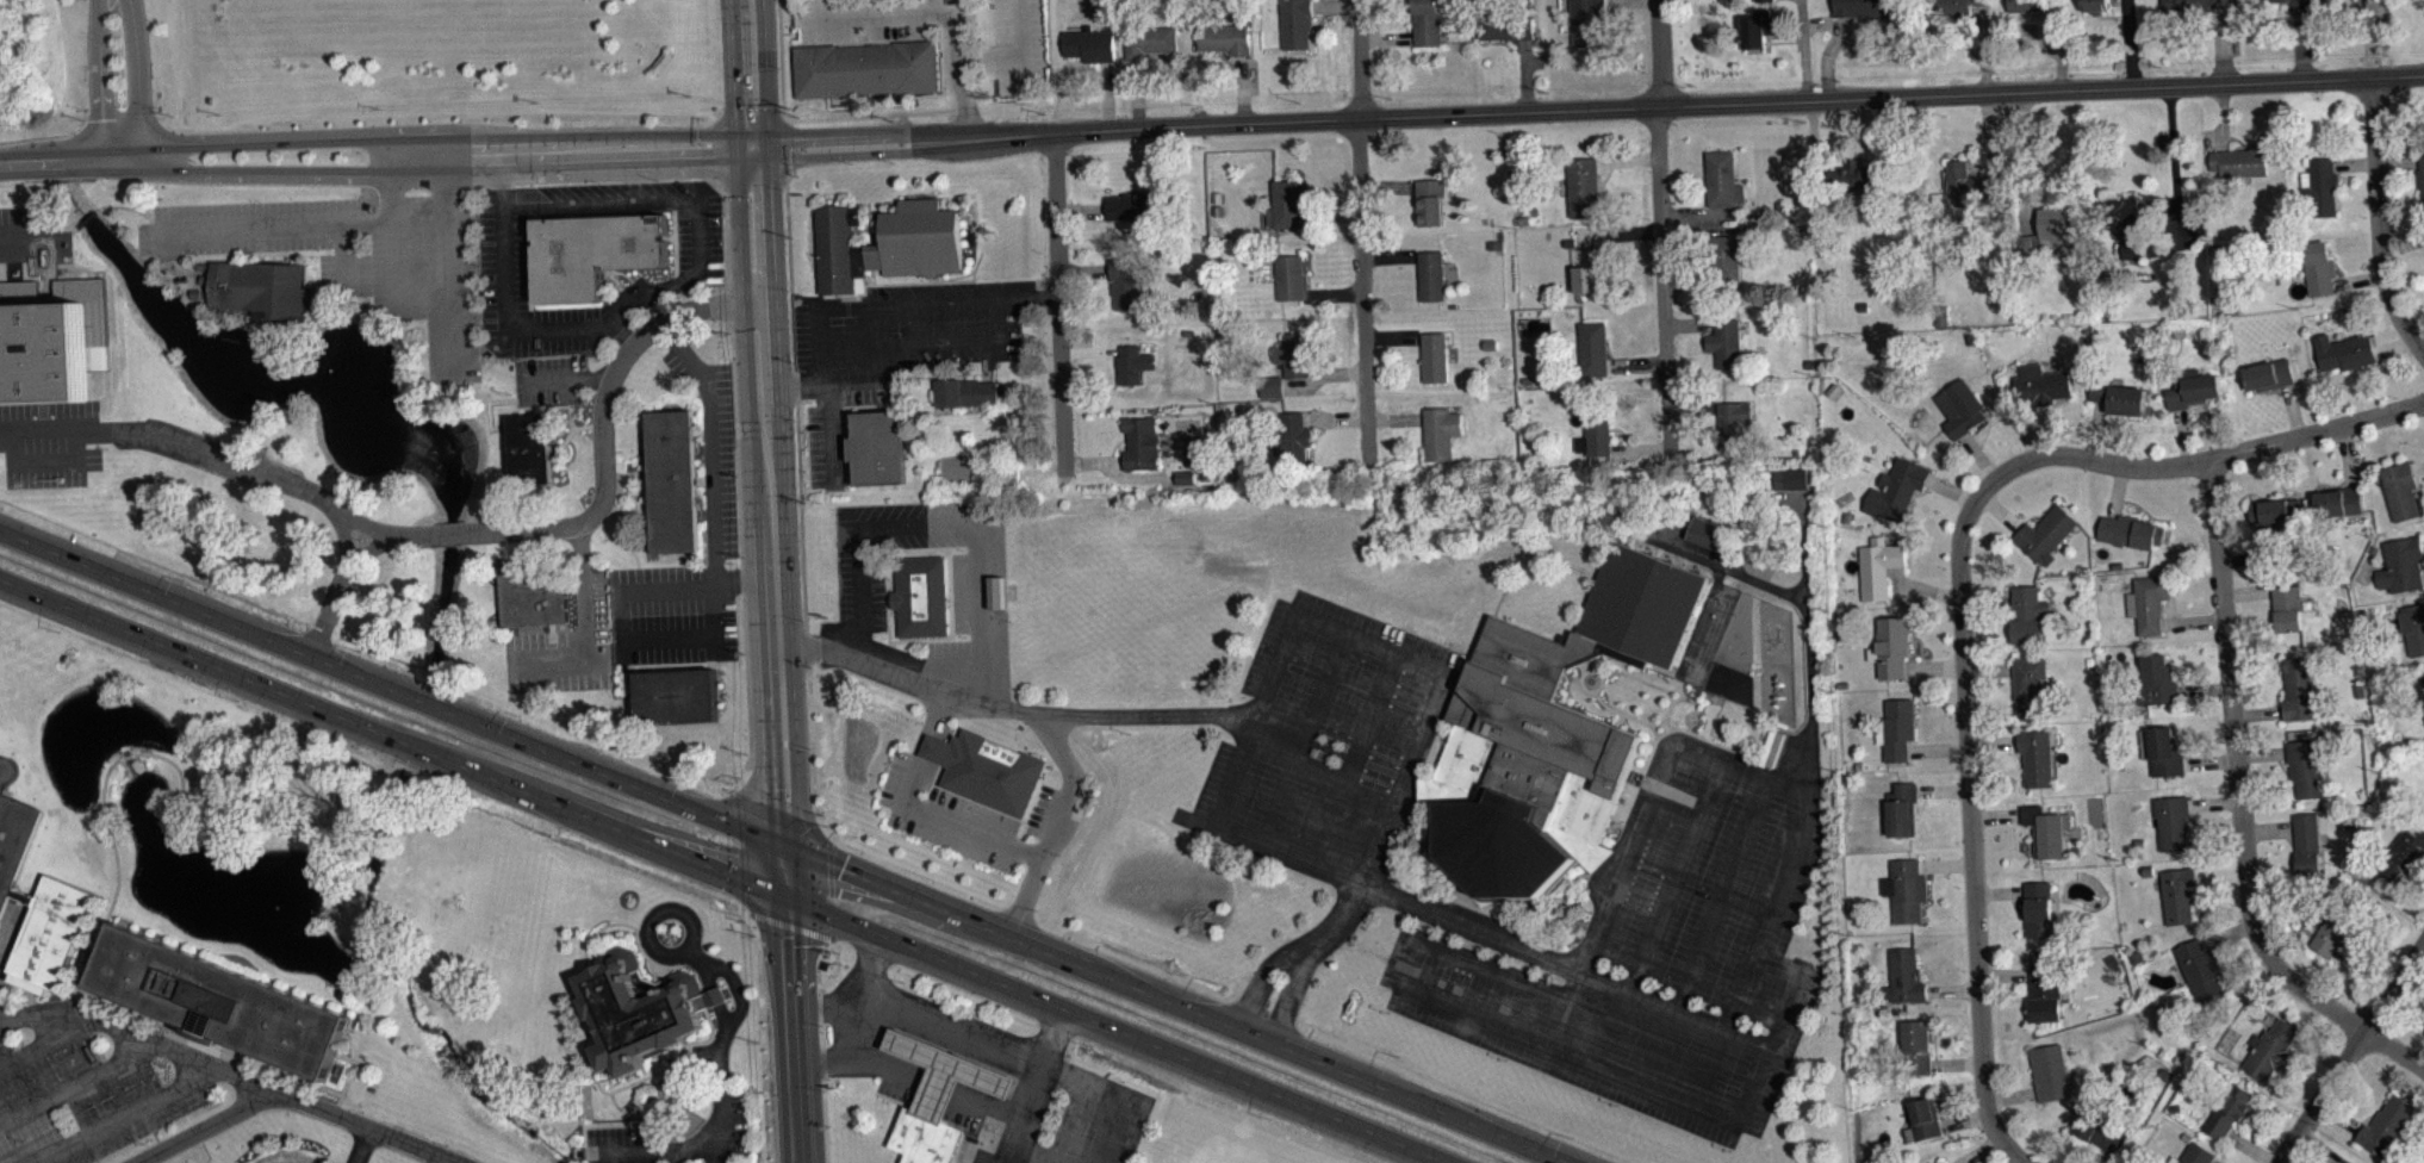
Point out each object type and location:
building: (1758, 0)
building: (2360, 0)
building: (2405, 0)
building: (2296, 2)
building: (2193, 4)
building: (2032, 5)
building: (2095, 5)
building: (1864, 7)
building: (1956, 7)
road: (938, 11)
building: (1505, 21)
building: (1587, 21)
building: (1295, 23)
building: (1427, 23)
parking lot: (895, 24)
building: (1760, 26)
building: (1226, 38)
building: (1150, 41)
building: (1089, 44)
parking lot: (1019, 46)
road: (1659, 54)
road: (1015, 57)
road: (1359, 58)
building: (866, 68)
road: (1021, 75)
road: (135, 76)
road: (99, 79)
road: (418, 114)
road: (815, 117)
road: (1212, 123)
traffic signals: (753, 147)
building: (2240, 162)
building: (1854, 175)
building: (2420, 176)
building: (1723, 179)
building: (1970, 186)
building: (1584, 187)
building: (2319, 187)
building: (1429, 201)
building: (1285, 204)
building: (1136, 205)
road: (2376, 219)
road: (299, 223)
building: (2055, 226)
parking lot: (26, 230)
road: (391, 230)
building: (2139, 232)
road: (21, 240)
parking lot: (696, 242)
building: (885, 242)
building: (591, 250)
road: (342, 251)
parking lot: (355, 255)
building: (1724, 256)
road: (445, 257)
building: (1587, 268)
building: (2318, 268)
building: (1430, 275)
building: (1289, 278)
building: (1129, 282)
parking lot: (518, 285)
road: (1664, 285)
building: (260, 286)
road: (640, 292)
road: (1366, 293)
road: (1025, 294)
road: (930, 301)
road: (1057, 301)
road: (619, 329)
parking lot: (901, 331)
building: (48, 336)
road: (951, 341)
building: (1726, 342)
road: (865, 343)
building: (1593, 348)
building: (2345, 350)
building: (1291, 354)
building: (1435, 357)
building: (1132, 363)
road: (818, 372)
building: (2269, 374)
road: (563, 377)
parking lot: (546, 379)
road: (825, 381)
building: (1270, 386)
building: (2039, 386)
building: (2192, 387)
building: (967, 391)
building: (2118, 396)
building: (1962, 408)
road: (601, 418)
building: (1733, 424)
road: (77, 427)
building: (1440, 431)
building: (1291, 433)
building: (1596, 433)
road: (708, 440)
building: (1142, 442)
parking lot: (822, 444)
building: (875, 446)
building: (527, 447)
road: (762, 447)
parking lot: (714, 458)
road: (2208, 459)
building: (1193, 461)
road: (262, 473)
building: (1788, 477)
road: (797, 478)
building: (667, 479)
building: (1186, 484)
building: (1792, 485)
building: (1897, 490)
building: (2400, 490)
building: (2339, 500)
building: (2275, 510)
road: (940, 525)
building: (1703, 530)
building: (2130, 530)
road: (448, 531)
building: (2046, 531)
road: (349, 556)
building: (2401, 564)
building: (1878, 566)
road: (691, 581)
parking lot: (858, 583)
parking lot: (667, 589)
building: (919, 593)
building: (530, 596)
building: (2148, 602)
building: (2287, 607)
building: (2028, 614)
road: (1809, 622)
building: (2414, 628)
road: (664, 635)
parking lot: (670, 635)
road: (1368, 640)
parking lot: (563, 645)
building: (1891, 646)
road: (576, 664)
building: (2157, 679)
building: (2031, 685)
building: (2422, 685)
building: (2298, 688)
building: (672, 695)
building: (2423, 707)
road: (1030, 708)
road: (1255, 717)
road: (1391, 726)
building: (1898, 728)
building: (1546, 733)
road: (1300, 735)
parking lot: (1325, 739)
building: (2162, 750)
road: (1350, 754)
building: (2038, 755)
road: (1318, 766)
building: (2306, 766)
building: (984, 767)
traffic signals: (772, 786)
road: (105, 791)
road: (916, 806)
road: (2240, 807)
building: (1903, 809)
parking lot: (944, 813)
road: (1056, 820)
building: (2171, 821)
road: (1634, 825)
road: (1971, 825)
building: (2047, 831)
building: (13, 832)
building: (2306, 842)
road: (784, 851)
building: (2404, 853)
road: (1365, 862)
building: (2148, 869)
traffic signals: (840, 871)
road: (722, 873)
traffic signals: (727, 876)
road: (829, 887)
building: (1906, 889)
building: (2177, 894)
building: (2039, 908)
road: (1657, 910)
road: (791, 926)
road: (1480, 928)
road: (1703, 928)
building: (2337, 932)
road: (8, 933)
building: (50, 933)
traffic signals: (779, 940)
parking lot: (1660, 947)
road: (1751, 947)
building: (2201, 970)
building: (1906, 977)
building: (2044, 991)
road: (819, 995)
road: (860, 995)
building: (220, 1001)
road: (819, 1007)
building: (636, 1008)
road: (731, 1016)
road: (896, 1018)
road: (908, 1022)
road: (920, 1027)
road: (782, 1030)
road: (951, 1030)
road: (930, 1031)
road: (762, 1032)
road: (194, 1034)
road: (939, 1034)
road: (144, 1037)
road: (889, 1037)
road: (950, 1039)
road: (900, 1041)
building: (206, 1043)
road: (962, 1044)
road: (1544, 1044)
road: (360, 1045)
road: (39, 1046)
road: (201, 1046)
road: (913, 1046)
road: (972, 1049)
building: (1914, 1049)
building: (2270, 1049)
road: (921, 1051)
road: (883, 1052)
road: (982, 1052)
road: (857, 1055)
road: (931, 1055)
road: (992, 1056)
road: (2348, 1056)
road: (895, 1057)
road: (1002, 1061)
road: (907, 1062)
road: (941, 1064)
road: (915, 1065)
road: (1017, 1065)
road: (965, 1068)
road: (952, 1069)
road: (925, 1070)
road: (974, 1071)
building: (2050, 1071)
road: (984, 1076)
road: (1036, 1077)
road: (995, 1081)
road: (940, 1082)
road: (959, 1083)
road: (343, 1084)
road: (75, 1086)
road: (1008, 1086)
road: (968, 1087)
road: (978, 1092)
road: (989, 1096)
road: (293, 1097)
building: (937, 1097)
gas station: (937, 1097)
parking lot: (79, 1101)
road: (1002, 1101)
road: (988, 1102)
road: (823, 1109)
building: (2230, 1111)
road: (123, 1118)
building: (1923, 1119)
parking lot: (721, 1128)
building: (2388, 1128)
road: (1093, 1130)
building: (2100, 1131)
road: (358, 1143)
parking lot: (620, 1143)
building: (2196, 1153)
road: (673, 1156)
road: (441, 1159)
building: (1941, 1162)

